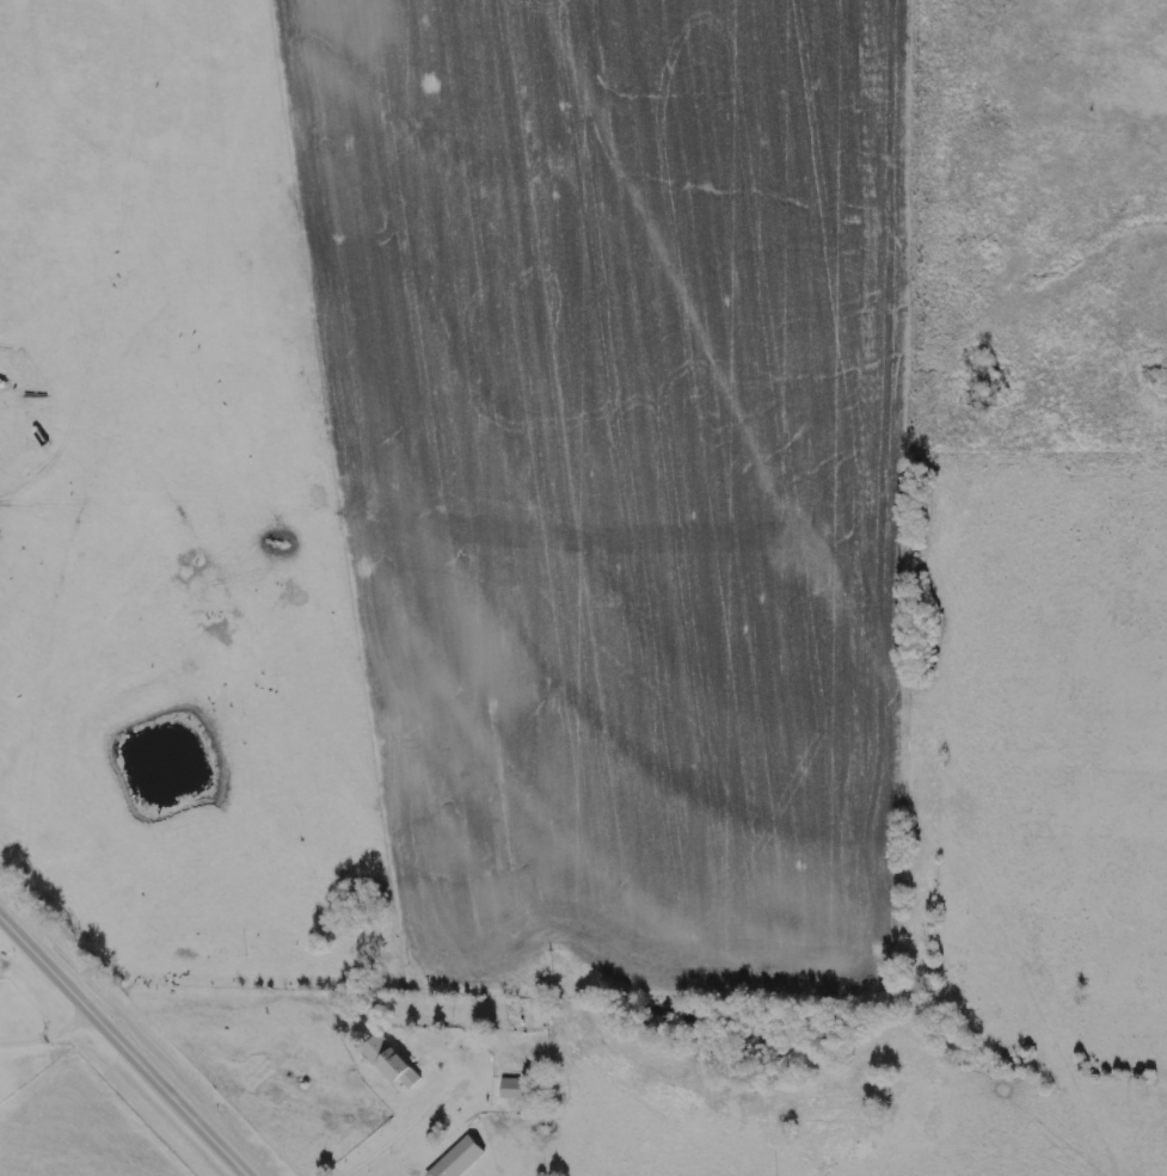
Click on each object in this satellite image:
road: (48, 1029)
road: (128, 1042)
building: (394, 1064)
building: (515, 1090)
building: (443, 1121)
road: (389, 1127)
building: (460, 1158)
road: (333, 1175)

